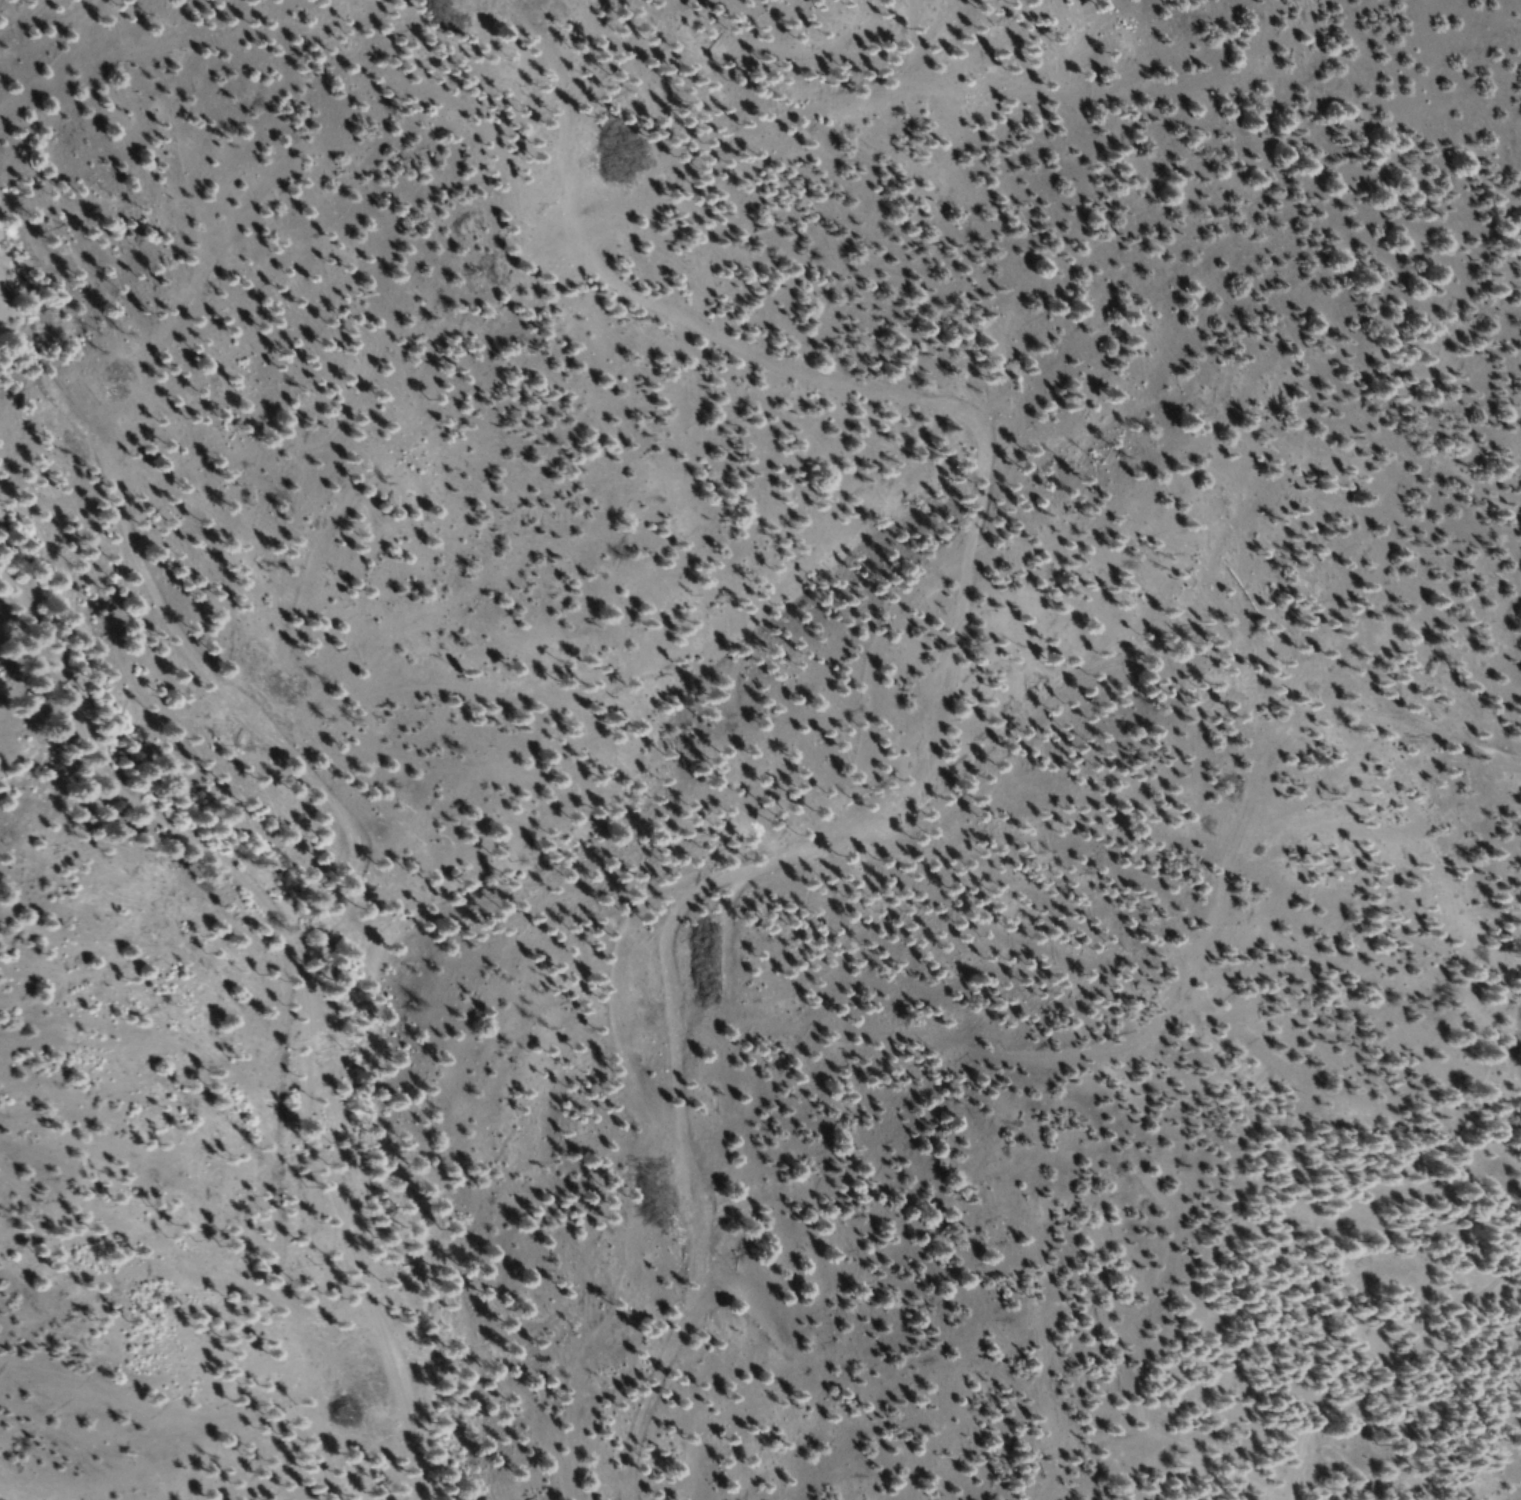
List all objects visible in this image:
road: (300, 1045)

